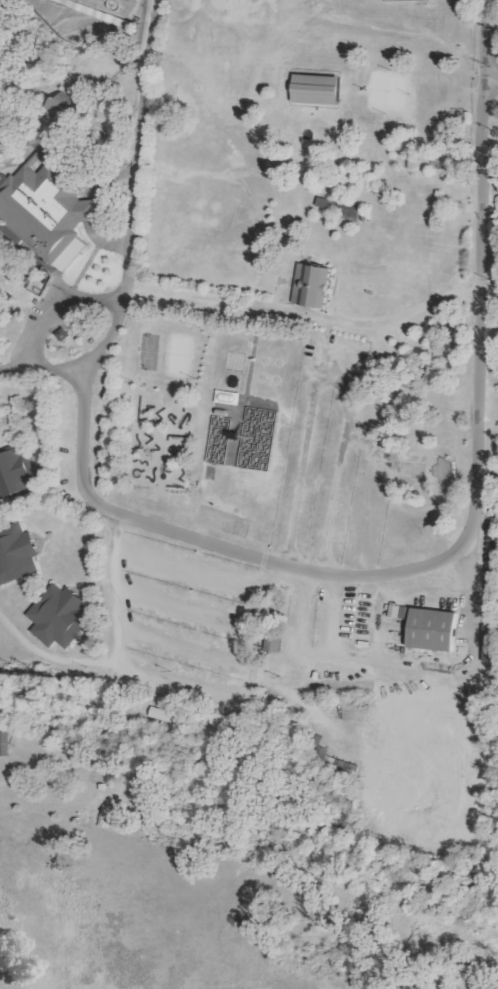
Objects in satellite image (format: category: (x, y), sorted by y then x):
building: (6, 9)
road: (483, 45)
road: (397, 50)
road: (215, 56)
road: (116, 58)
road: (81, 68)
road: (71, 86)
building: (320, 90)
park: (389, 92)
building: (63, 111)
road: (34, 112)
road: (348, 120)
park: (210, 140)
road: (275, 144)
road: (39, 150)
building: (327, 204)
road: (89, 205)
building: (42, 207)
building: (89, 210)
building: (350, 210)
road: (132, 229)
road: (267, 244)
road: (38, 260)
road: (86, 266)
road: (384, 281)
building: (314, 286)
road: (61, 313)
road: (305, 313)
park: (167, 350)
road: (254, 350)
road: (324, 358)
park: (265, 361)
park: (279, 364)
park: (262, 378)
park: (276, 380)
park: (232, 381)
road: (359, 400)
parking lot: (101, 420)
road: (60, 424)
road: (287, 432)
parking lot: (323, 449)
road: (62, 452)
park: (256, 458)
theme park: (256, 458)
building: (14, 473)
road: (121, 481)
parking lot: (189, 517)
road: (66, 520)
building: (16, 553)
road: (438, 561)
road: (193, 571)
road: (99, 580)
road: (414, 587)
road: (120, 589)
road: (190, 608)
building: (58, 616)
parking lot: (185, 617)
parking lot: (323, 618)
road: (371, 623)
road: (3, 629)
building: (431, 630)
road: (467, 633)
building: (273, 640)
building: (492, 644)
road: (186, 646)
road: (318, 653)
road: (51, 657)
road: (461, 665)
road: (247, 690)
road: (288, 695)
road: (43, 749)
road: (97, 785)

